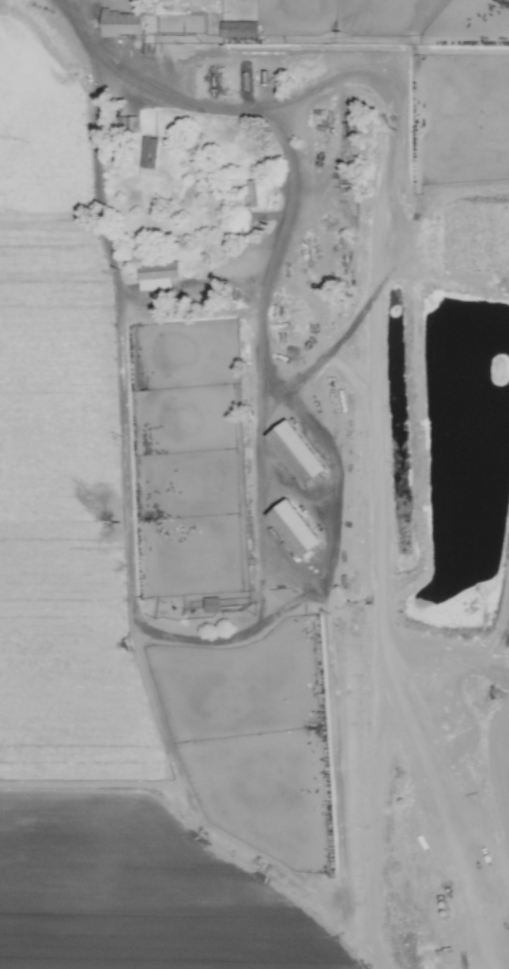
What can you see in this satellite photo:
road: (67, 1)
building: (121, 23)
building: (238, 30)
road: (92, 34)
building: (127, 124)
building: (149, 157)
building: (257, 194)
building: (157, 272)
road: (197, 310)
building: (296, 451)
building: (295, 529)
road: (270, 560)
building: (211, 605)

